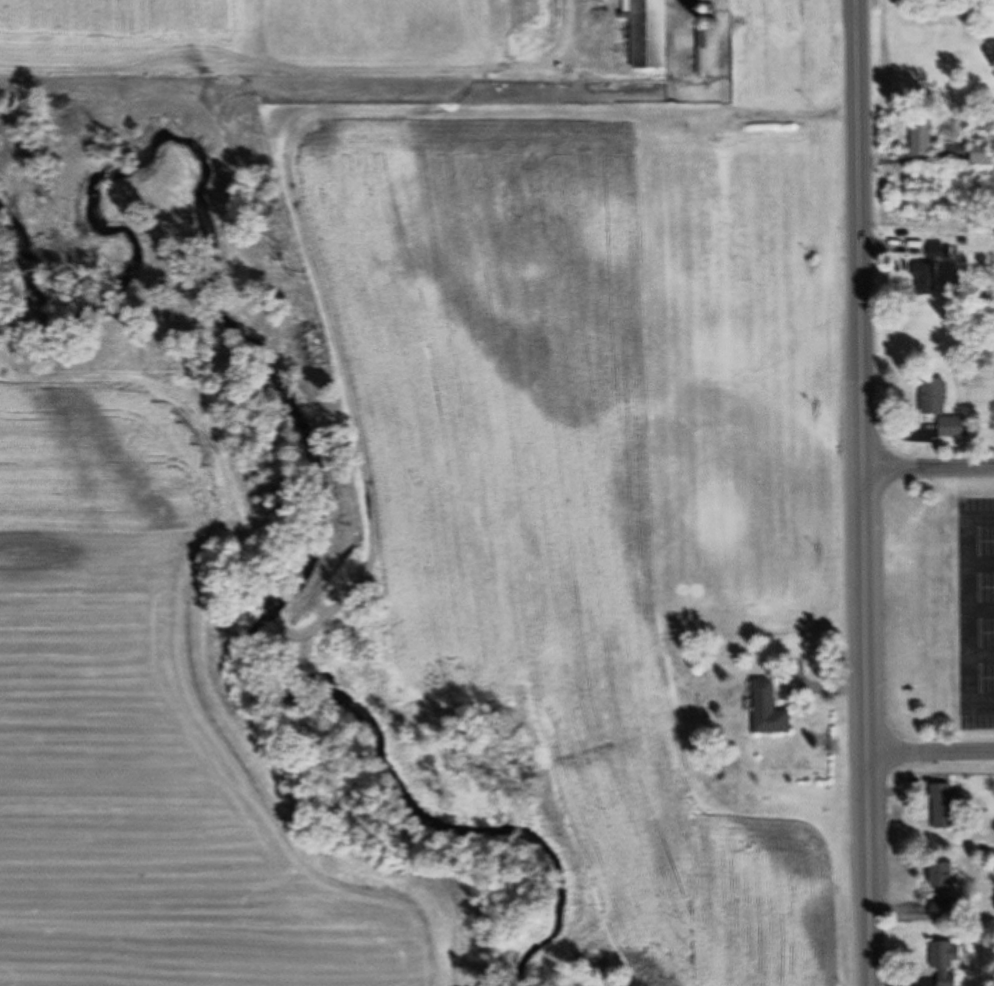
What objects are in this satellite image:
building: (595, 0)
building: (651, 33)
building: (703, 53)
building: (924, 134)
building: (983, 154)
building: (930, 268)
building: (934, 396)
building: (955, 427)
road: (926, 463)
road: (859, 493)
road: (980, 563)
road: (966, 610)
parking lot: (975, 610)
road: (980, 611)
road: (980, 656)
building: (771, 710)
road: (928, 754)
building: (946, 806)
building: (944, 879)
building: (943, 911)
building: (947, 961)

